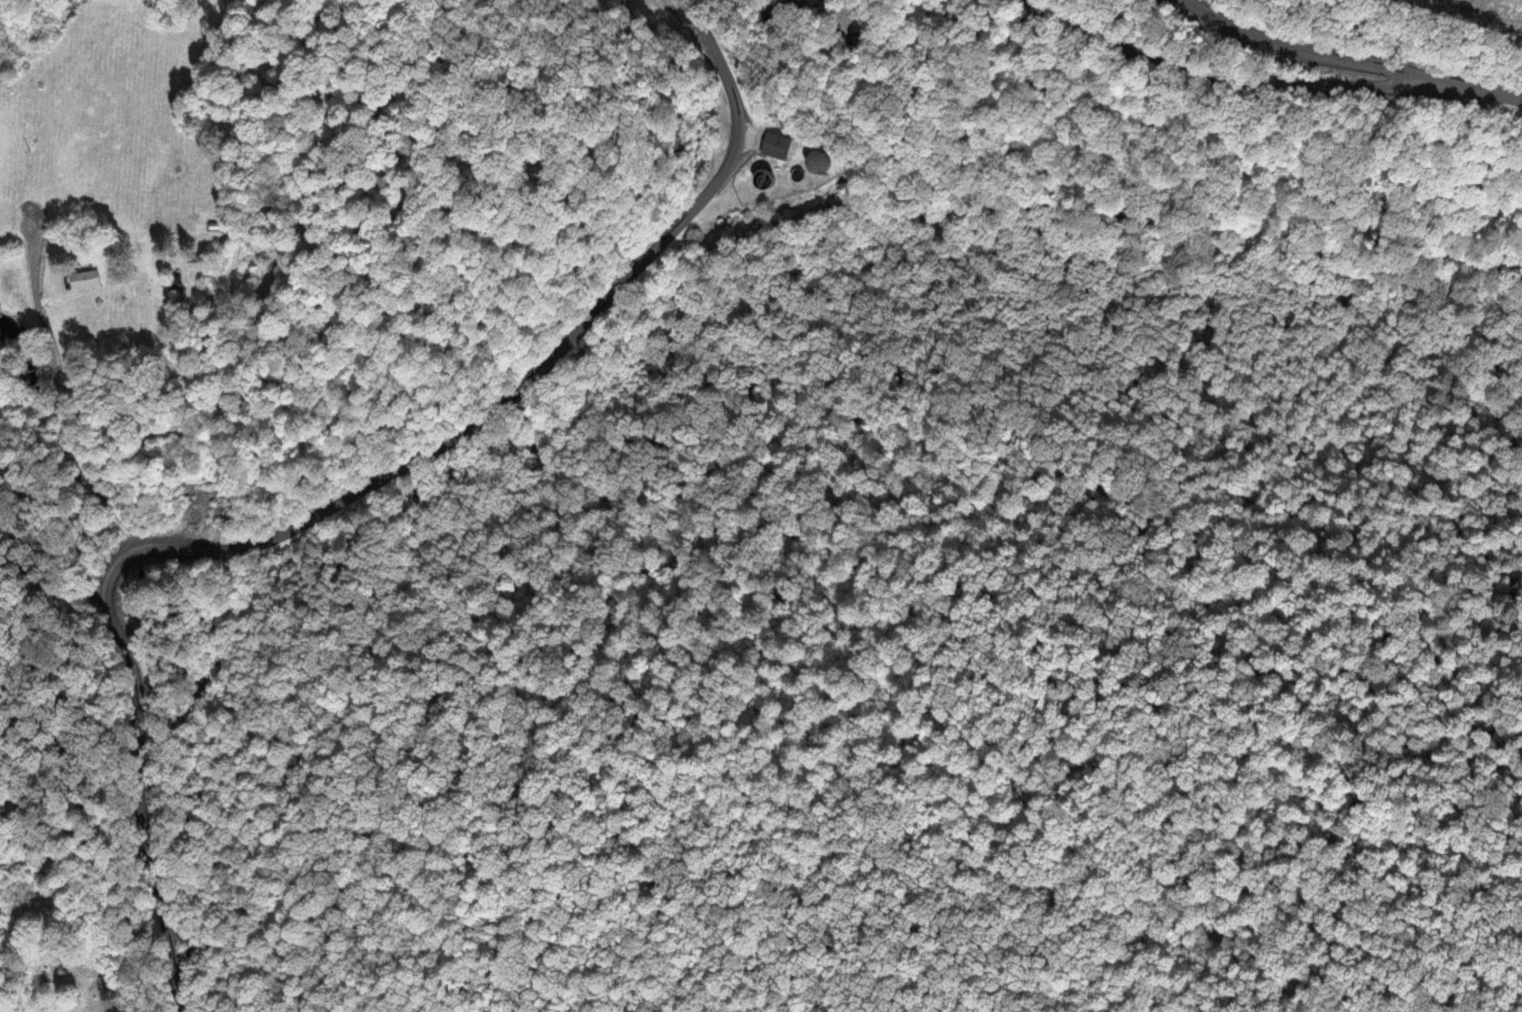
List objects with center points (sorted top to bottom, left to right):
road: (1303, 48)
road: (1223, 71)
road: (1477, 88)
building: (783, 146)
building: (825, 163)
building: (87, 281)
road: (76, 388)
road: (338, 500)

